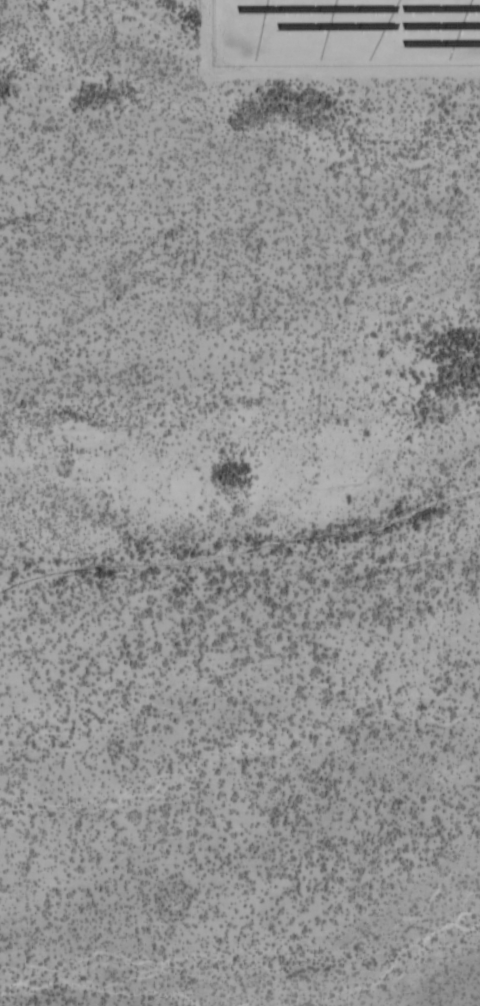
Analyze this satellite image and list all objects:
building: (324, 681)
building: (173, 821)
building: (303, 903)

